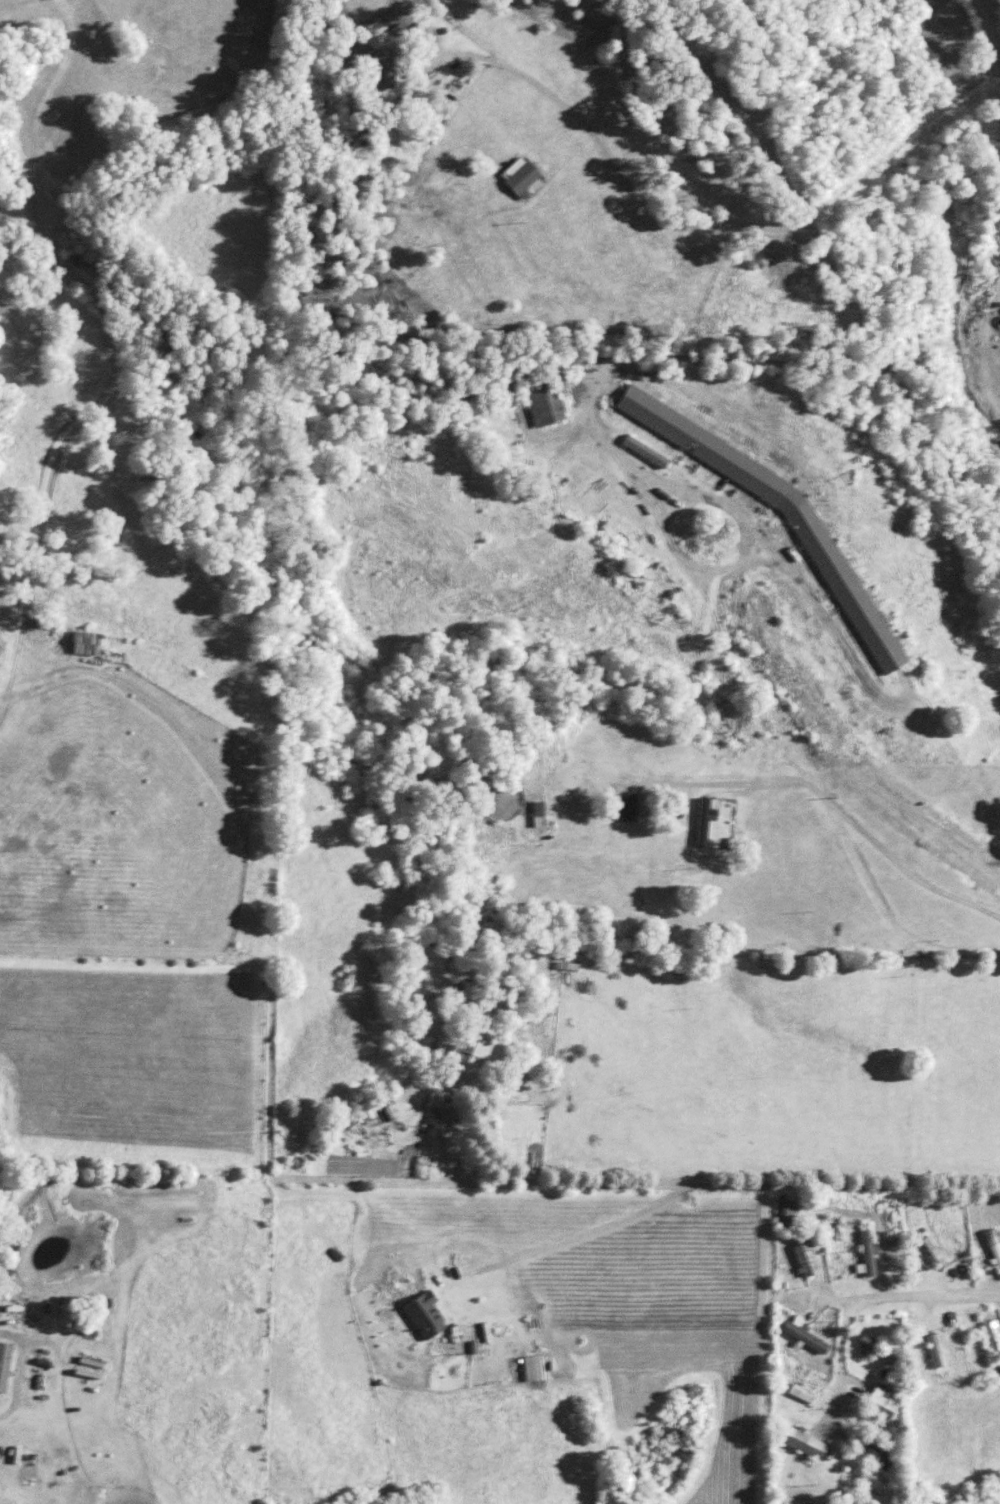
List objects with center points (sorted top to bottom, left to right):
road: (991, 25)
road: (610, 165)
building: (520, 178)
building: (543, 406)
road: (910, 416)
building: (683, 434)
building: (831, 572)
building: (83, 644)
road: (7, 687)
road: (796, 754)
building: (701, 820)
building: (471, 1050)
road: (683, 1185)
building: (786, 1211)
building: (993, 1248)
road: (504, 1253)
building: (864, 1254)
building: (802, 1258)
road: (866, 1299)
building: (423, 1315)
building: (802, 1334)
building: (990, 1337)
building: (932, 1348)
building: (3, 1364)
building: (530, 1368)
building: (998, 1375)
building: (879, 1402)
building: (803, 1443)

